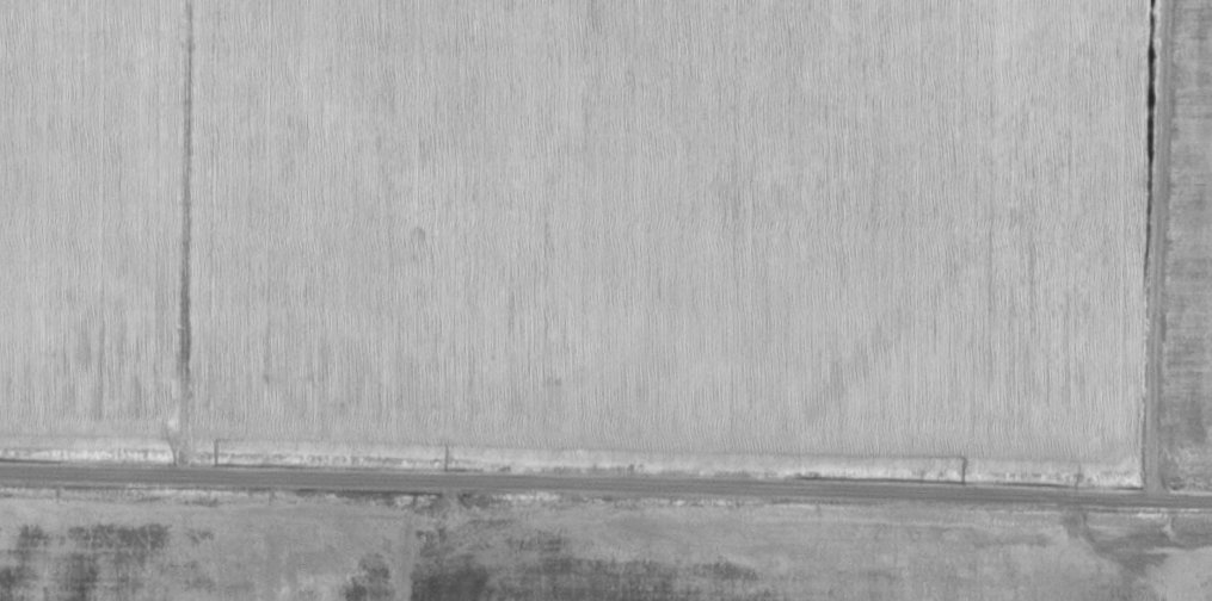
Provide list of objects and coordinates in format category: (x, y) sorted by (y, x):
road: (605, 487)

